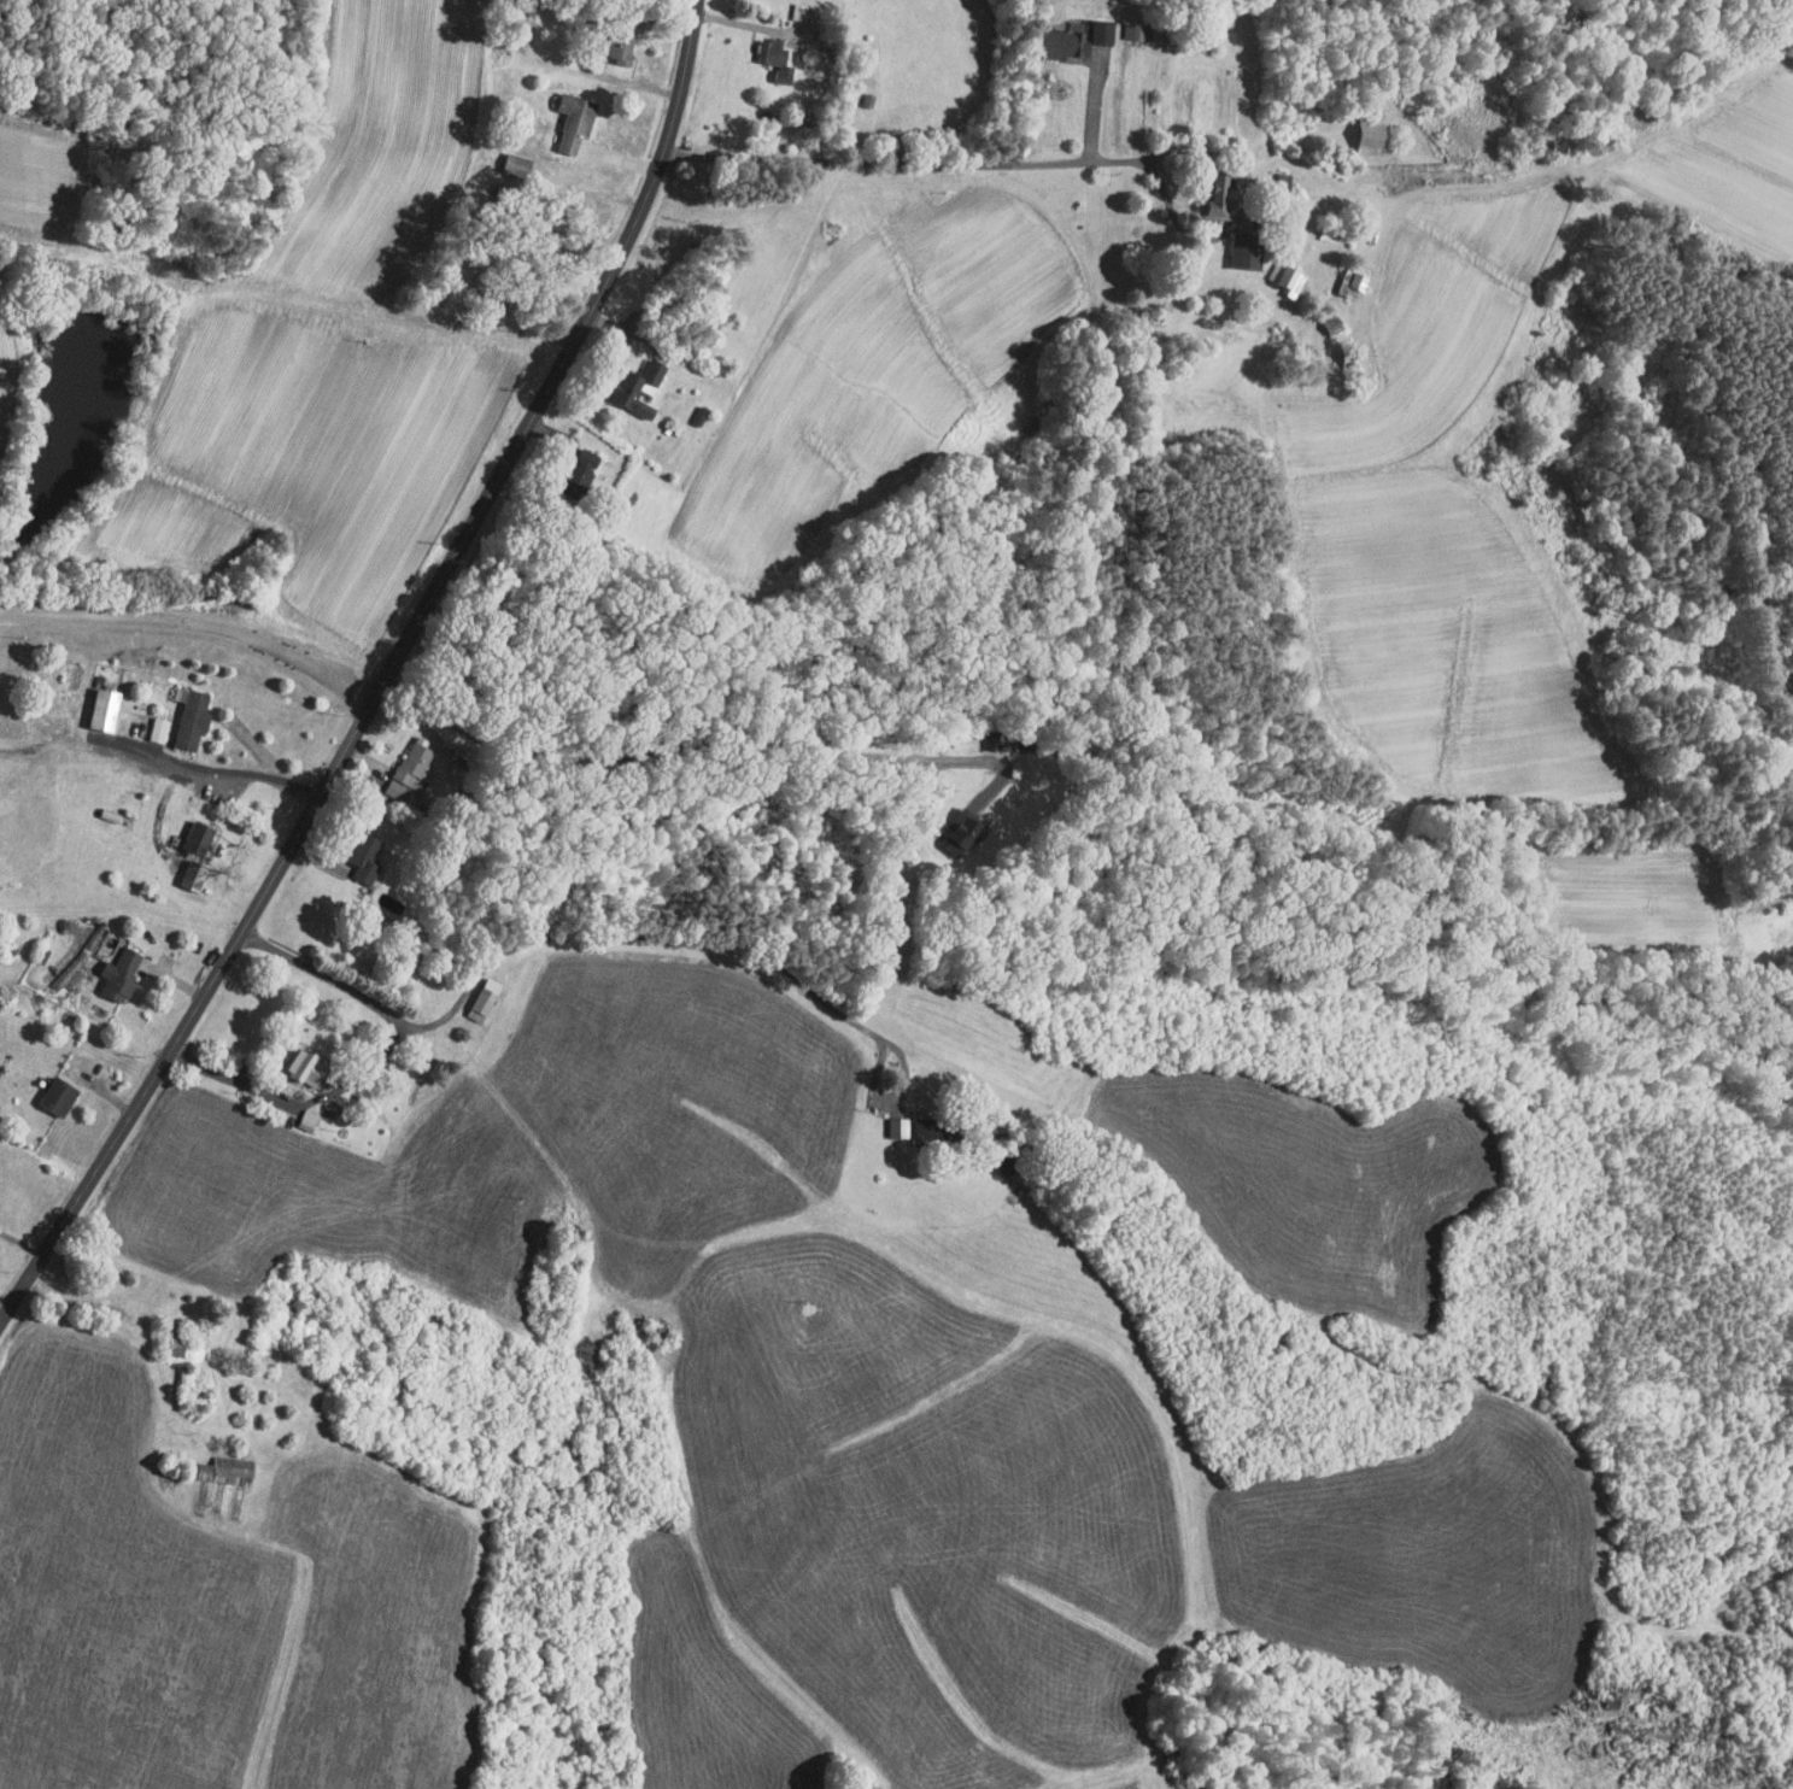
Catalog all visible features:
building: (787, 6)
building: (1120, 23)
building: (1065, 30)
building: (611, 37)
building: (763, 49)
building: (564, 112)
building: (1358, 127)
building: (504, 157)
road: (1053, 164)
building: (1209, 186)
building: (1234, 245)
building: (1276, 266)
building: (1342, 274)
building: (631, 380)
building: (687, 407)
building: (575, 457)
road: (194, 624)
road: (385, 678)
building: (94, 699)
building: (182, 711)
building: (146, 721)
road: (702, 743)
building: (398, 758)
road: (213, 769)
building: (950, 826)
building: (186, 845)
building: (357, 849)
road: (582, 934)
building: (111, 964)
building: (474, 991)
building: (297, 1058)
building: (48, 1087)
road: (299, 1101)
building: (298, 1113)
building: (889, 1119)
building: (216, 1461)

